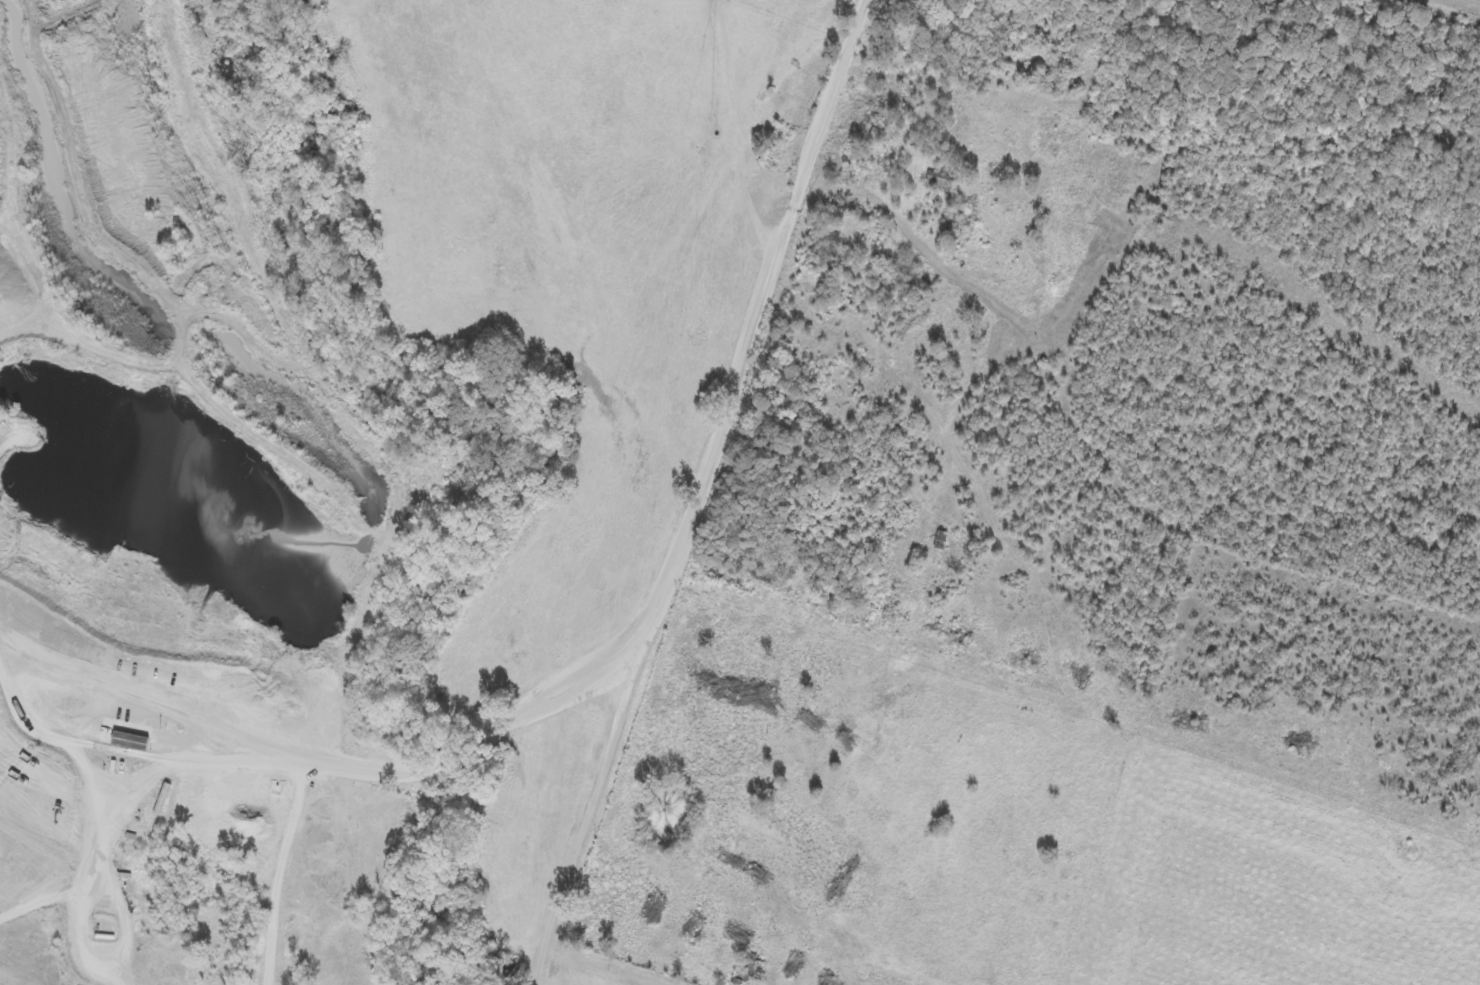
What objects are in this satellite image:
road: (727, 494)
road: (13, 652)
road: (37, 667)
road: (244, 738)
building: (129, 742)

